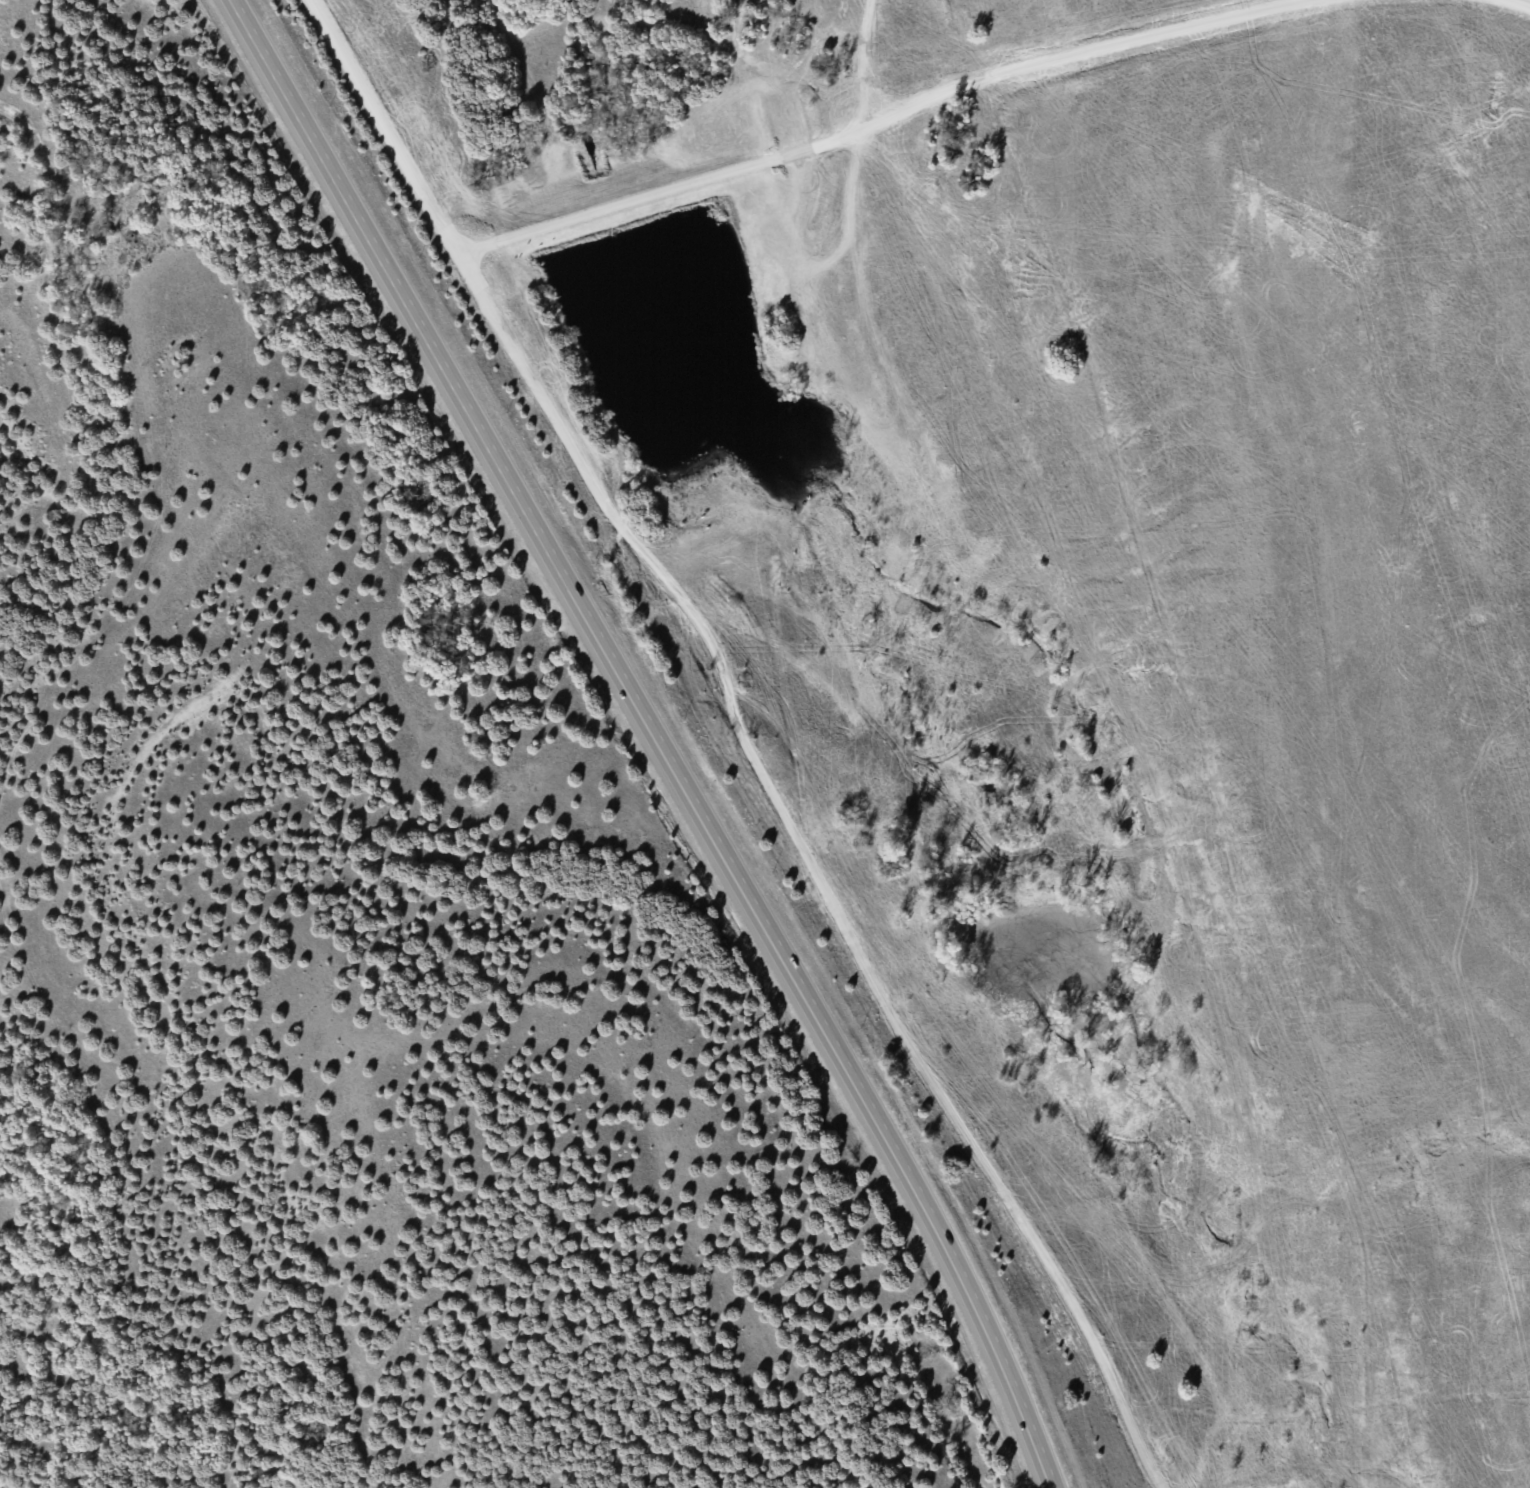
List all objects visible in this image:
road: (1524, 1)
road: (872, 116)
road: (385, 122)
dam: (627, 209)
road: (650, 737)
road: (820, 860)
dam: (1009, 882)

